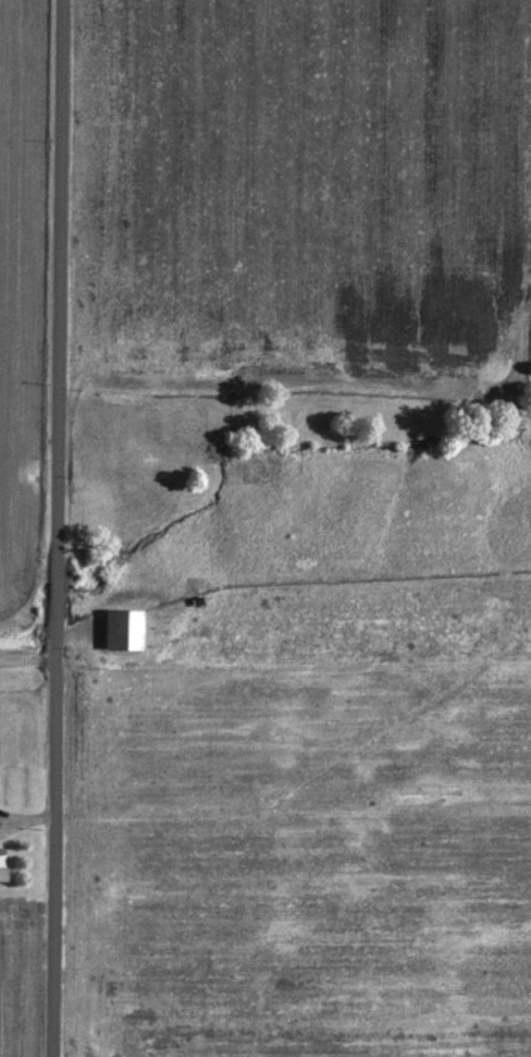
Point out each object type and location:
building: (107, 449)
road: (55, 527)
building: (115, 635)

